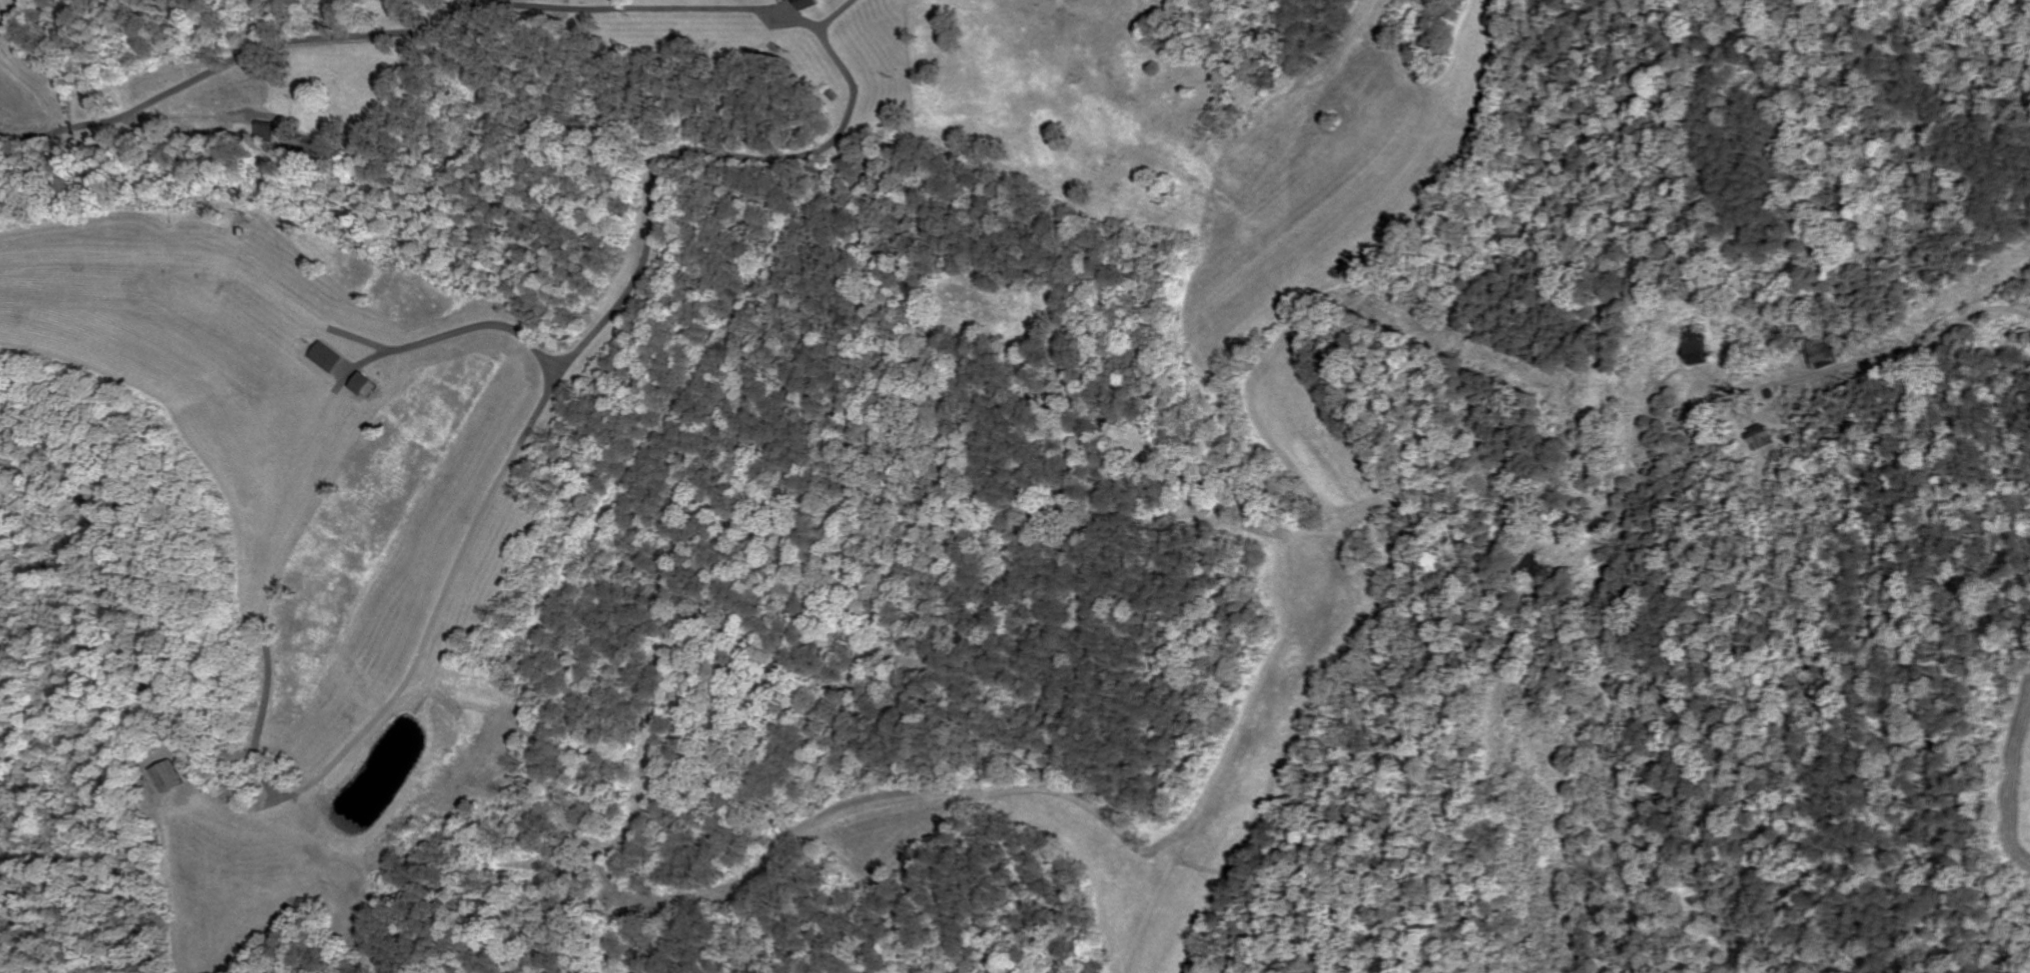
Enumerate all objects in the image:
building: (807, 3)
building: (1700, 346)
building: (1824, 353)
building: (327, 357)
building: (1764, 436)
road: (109, 567)
building: (172, 777)

